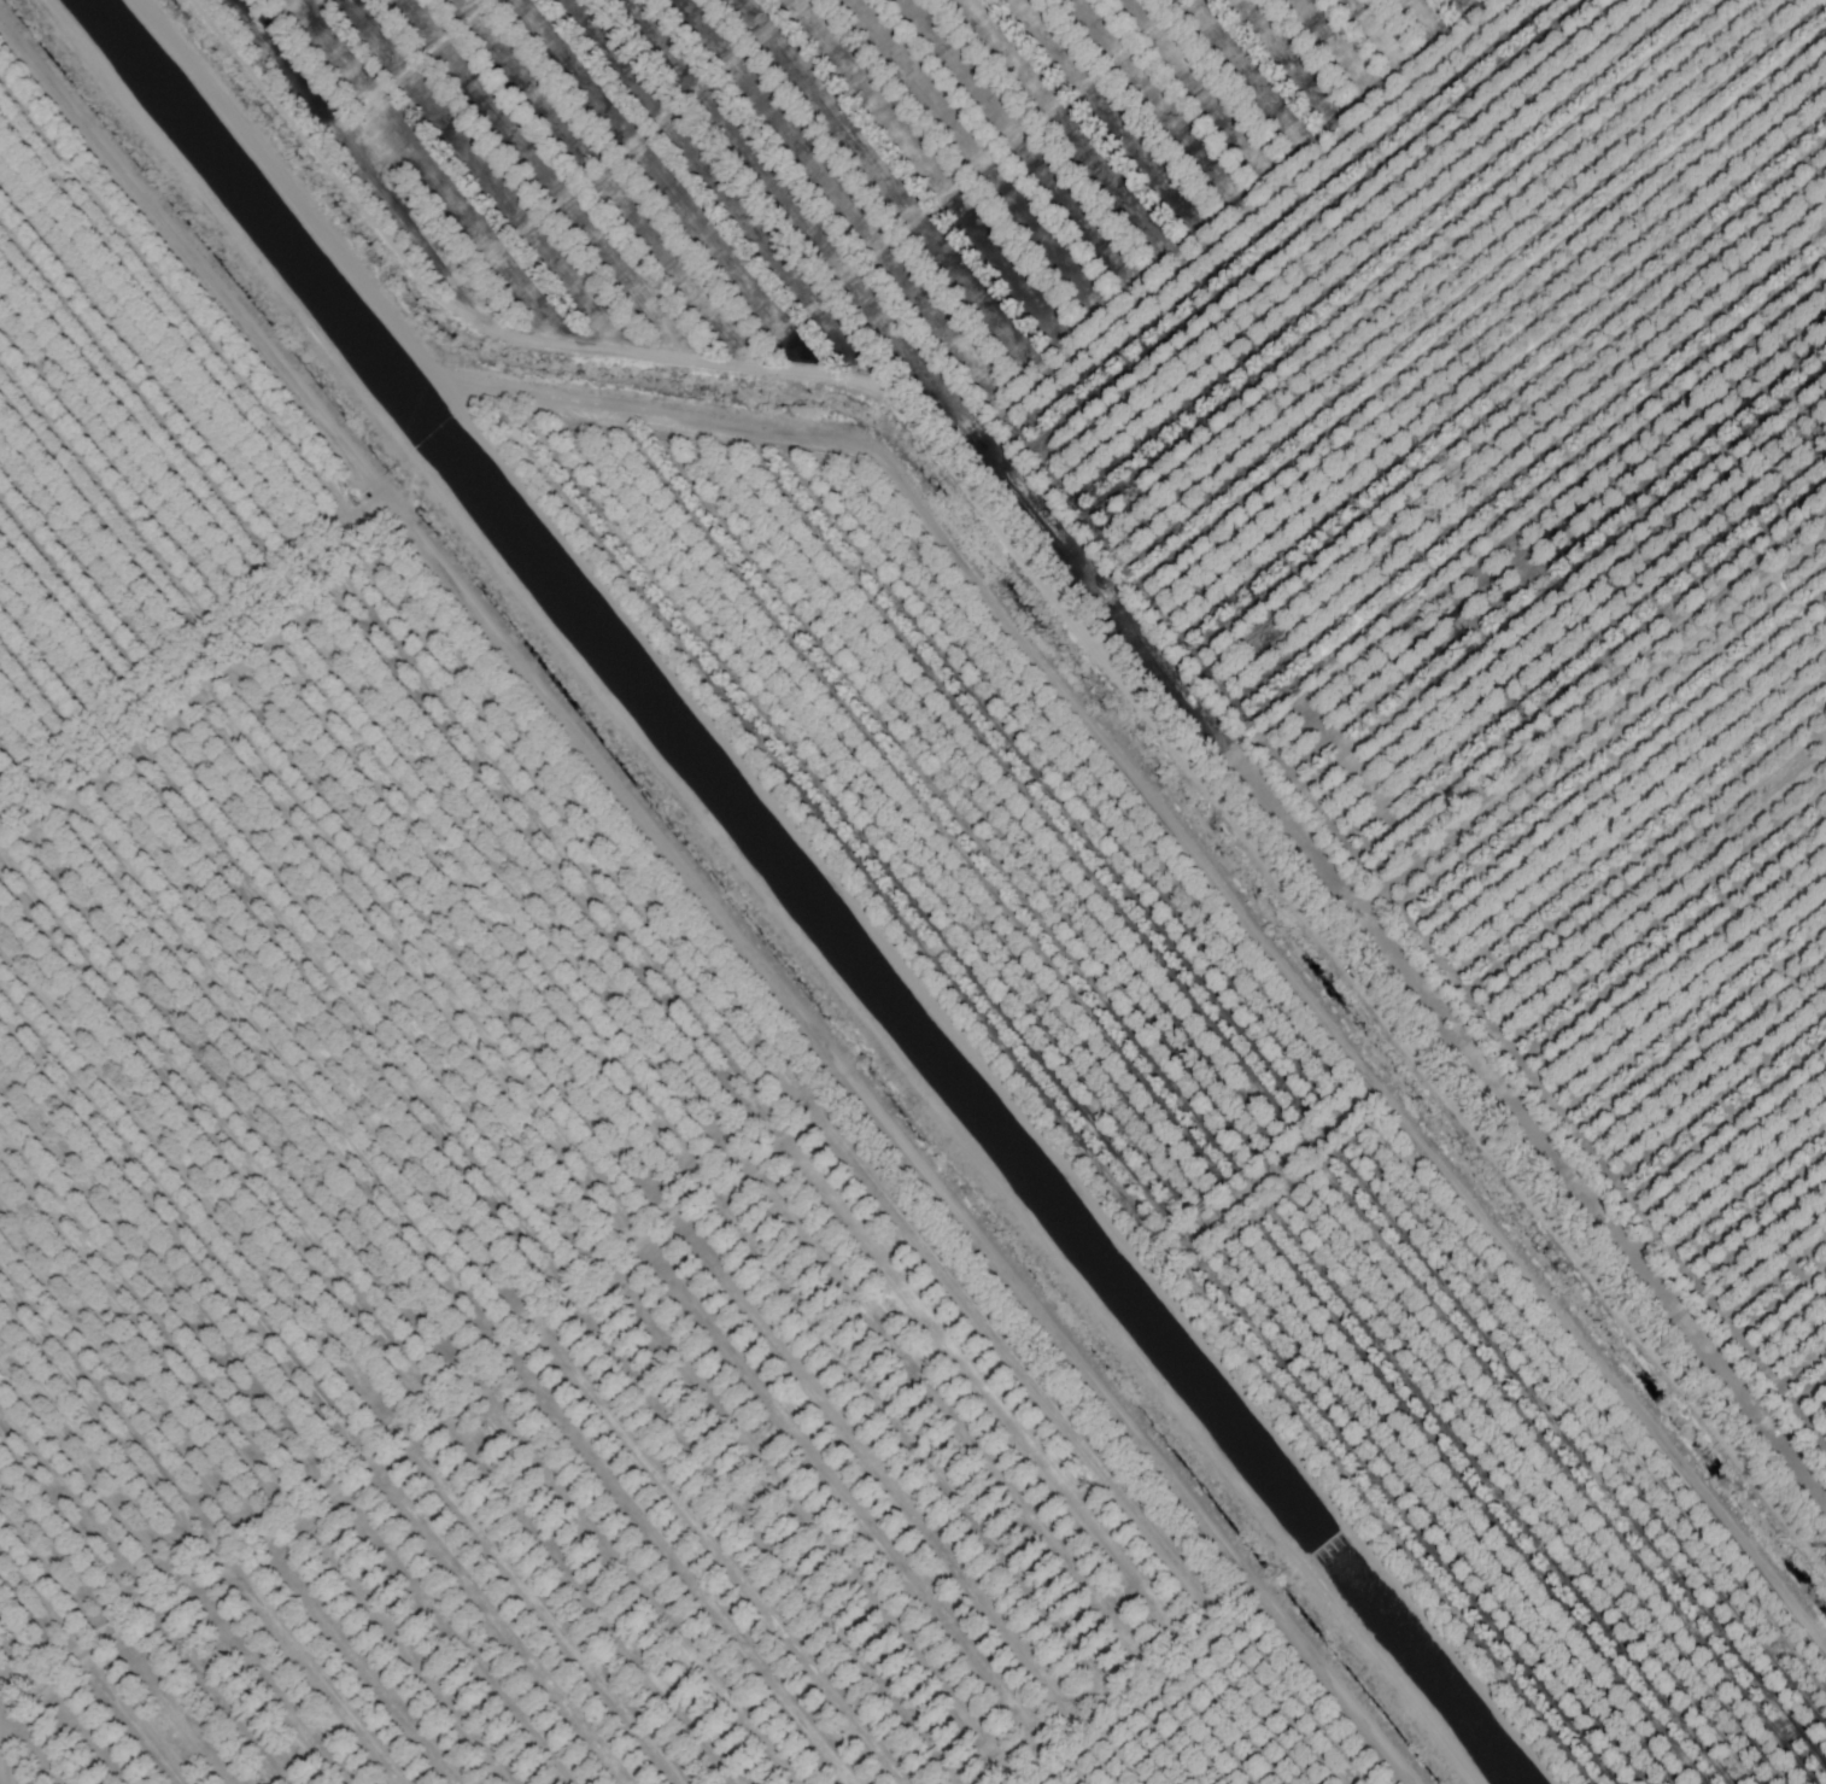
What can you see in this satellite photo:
road: (710, 891)
road: (757, 891)
road: (848, 893)

